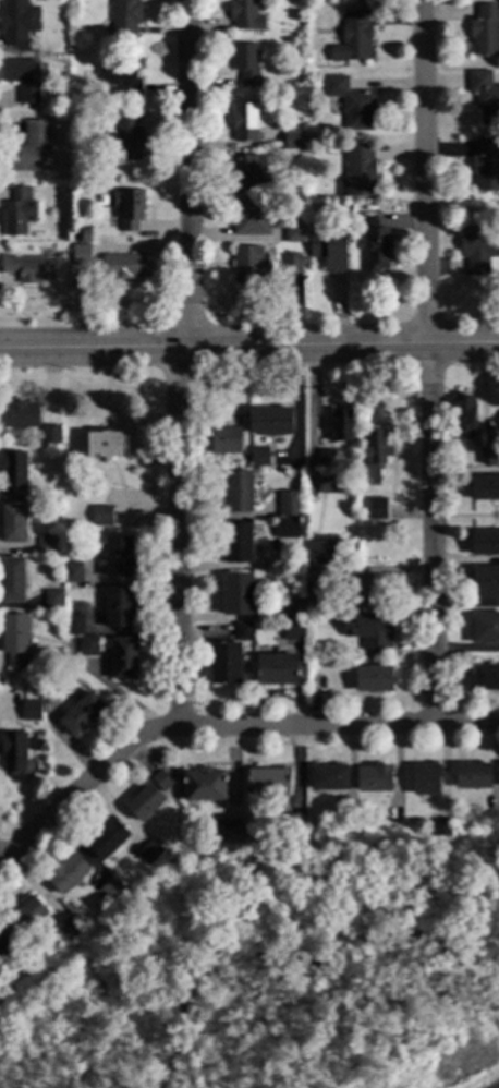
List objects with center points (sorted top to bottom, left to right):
building: (244, 15)
building: (124, 20)
building: (17, 23)
building: (485, 31)
building: (352, 39)
building: (245, 64)
building: (120, 78)
building: (22, 80)
building: (485, 97)
building: (352, 105)
building: (244, 122)
building: (124, 137)
building: (293, 142)
building: (27, 150)
building: (485, 167)
building: (251, 173)
building: (357, 173)
building: (368, 208)
building: (127, 209)
building: (17, 214)
building: (254, 219)
building: (294, 233)
building: (85, 237)
building: (374, 245)
building: (478, 251)
building: (328, 252)
building: (81, 256)
building: (291, 264)
building: (248, 265)
building: (121, 268)
building: (27, 270)
road: (249, 344)
road: (427, 359)
road: (180, 362)
road: (312, 411)
building: (19, 416)
building: (464, 419)
building: (270, 424)
building: (341, 428)
building: (50, 437)
building: (224, 444)
building: (106, 448)
building: (375, 456)
building: (257, 459)
building: (488, 459)
building: (326, 461)
building: (12, 474)
building: (328, 485)
building: (484, 492)
building: (238, 494)
building: (289, 505)
building: (375, 512)
building: (101, 517)
building: (13, 525)
building: (284, 532)
building: (47, 546)
building: (238, 546)
building: (485, 546)
building: (320, 553)
building: (119, 559)
building: (73, 575)
building: (313, 578)
building: (11, 582)
building: (485, 585)
building: (54, 589)
building: (313, 591)
building: (368, 592)
building: (235, 599)
building: (52, 602)
building: (313, 606)
building: (120, 611)
building: (294, 613)
building: (308, 618)
building: (73, 628)
building: (485, 631)
building: (292, 633)
building: (369, 633)
building: (241, 636)
building: (16, 643)
building: (87, 649)
building: (123, 661)
building: (224, 667)
building: (277, 673)
building: (486, 680)
building: (373, 681)
building: (51, 682)
building: (31, 714)
building: (82, 717)
road: (222, 724)
building: (12, 758)
building: (473, 778)
building: (329, 781)
building: (375, 782)
building: (426, 783)
building: (268, 787)
building: (204, 788)
building: (148, 797)
building: (293, 826)
building: (440, 830)
building: (232, 833)
building: (106, 839)
building: (149, 854)
building: (65, 875)
building: (111, 890)
building: (27, 917)
building: (69, 930)
building: (3, 948)
building: (24, 963)
park: (278, 974)

